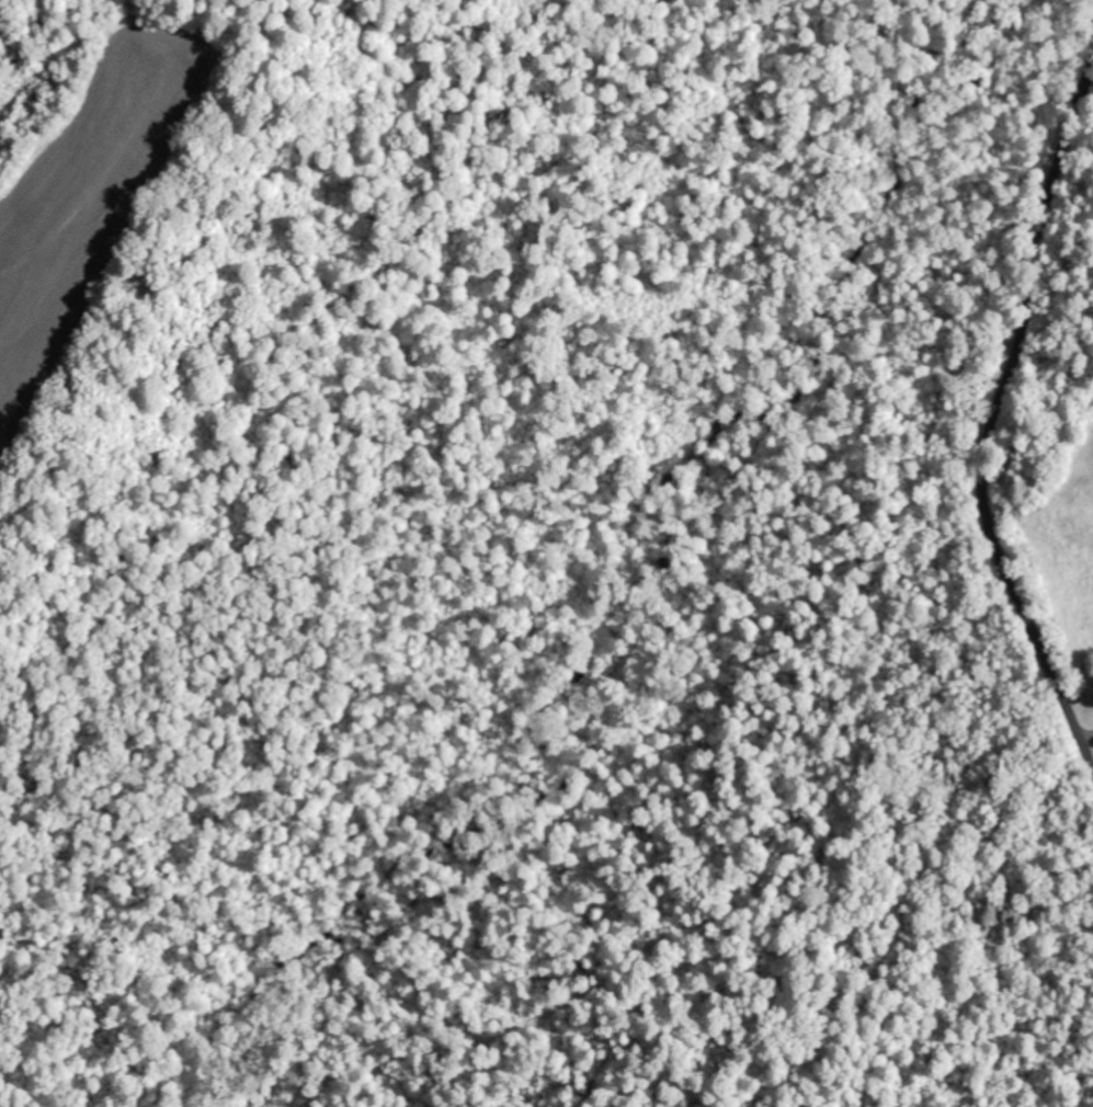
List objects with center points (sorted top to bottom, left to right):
road: (994, 421)

